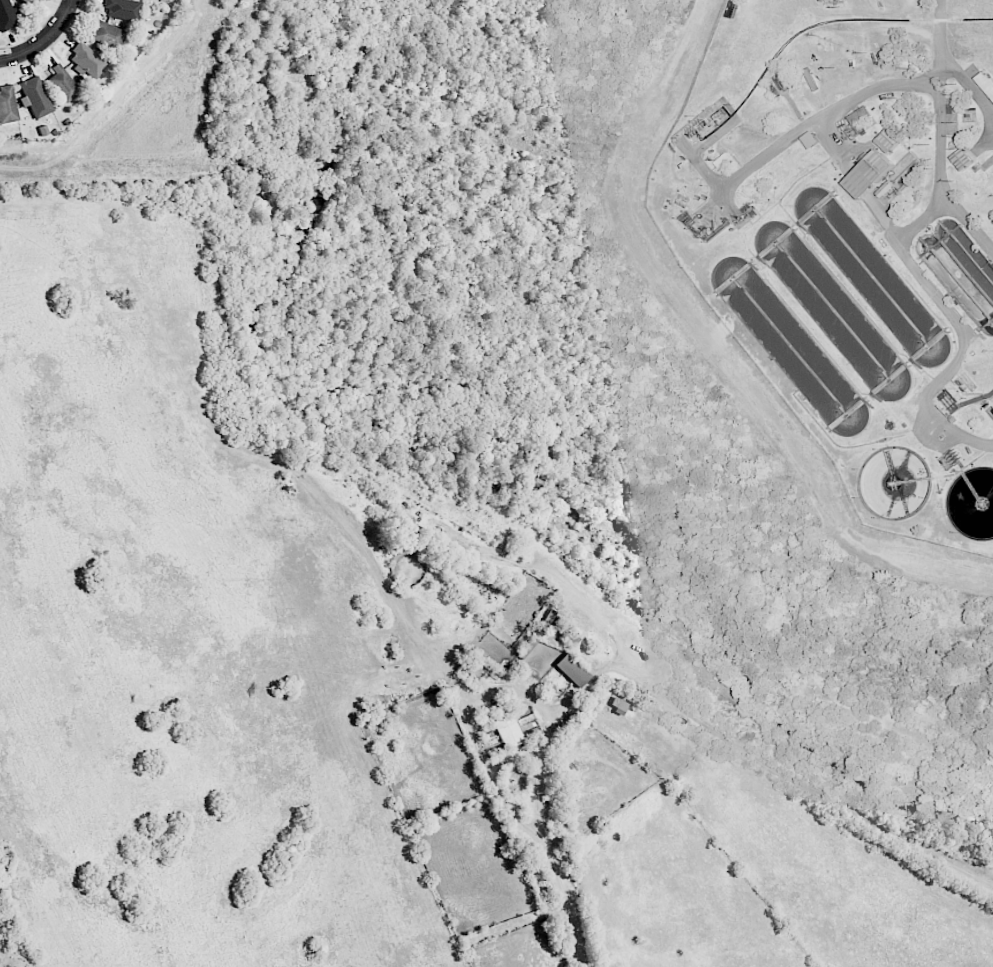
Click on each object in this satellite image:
building: (32, 2)
building: (123, 9)
building: (6, 16)
road: (939, 30)
building: (107, 34)
road: (47, 41)
building: (87, 61)
building: (985, 83)
building: (63, 84)
building: (35, 97)
road: (861, 102)
building: (7, 105)
building: (859, 118)
road: (944, 132)
building: (887, 140)
road: (836, 148)
building: (961, 158)
building: (868, 174)
road: (858, 183)
road: (883, 219)
road: (923, 225)
road: (970, 231)
wastewater plant: (840, 257)
road: (958, 359)
building: (572, 670)
road: (497, 691)
road: (564, 706)
building: (509, 732)
road: (569, 896)

